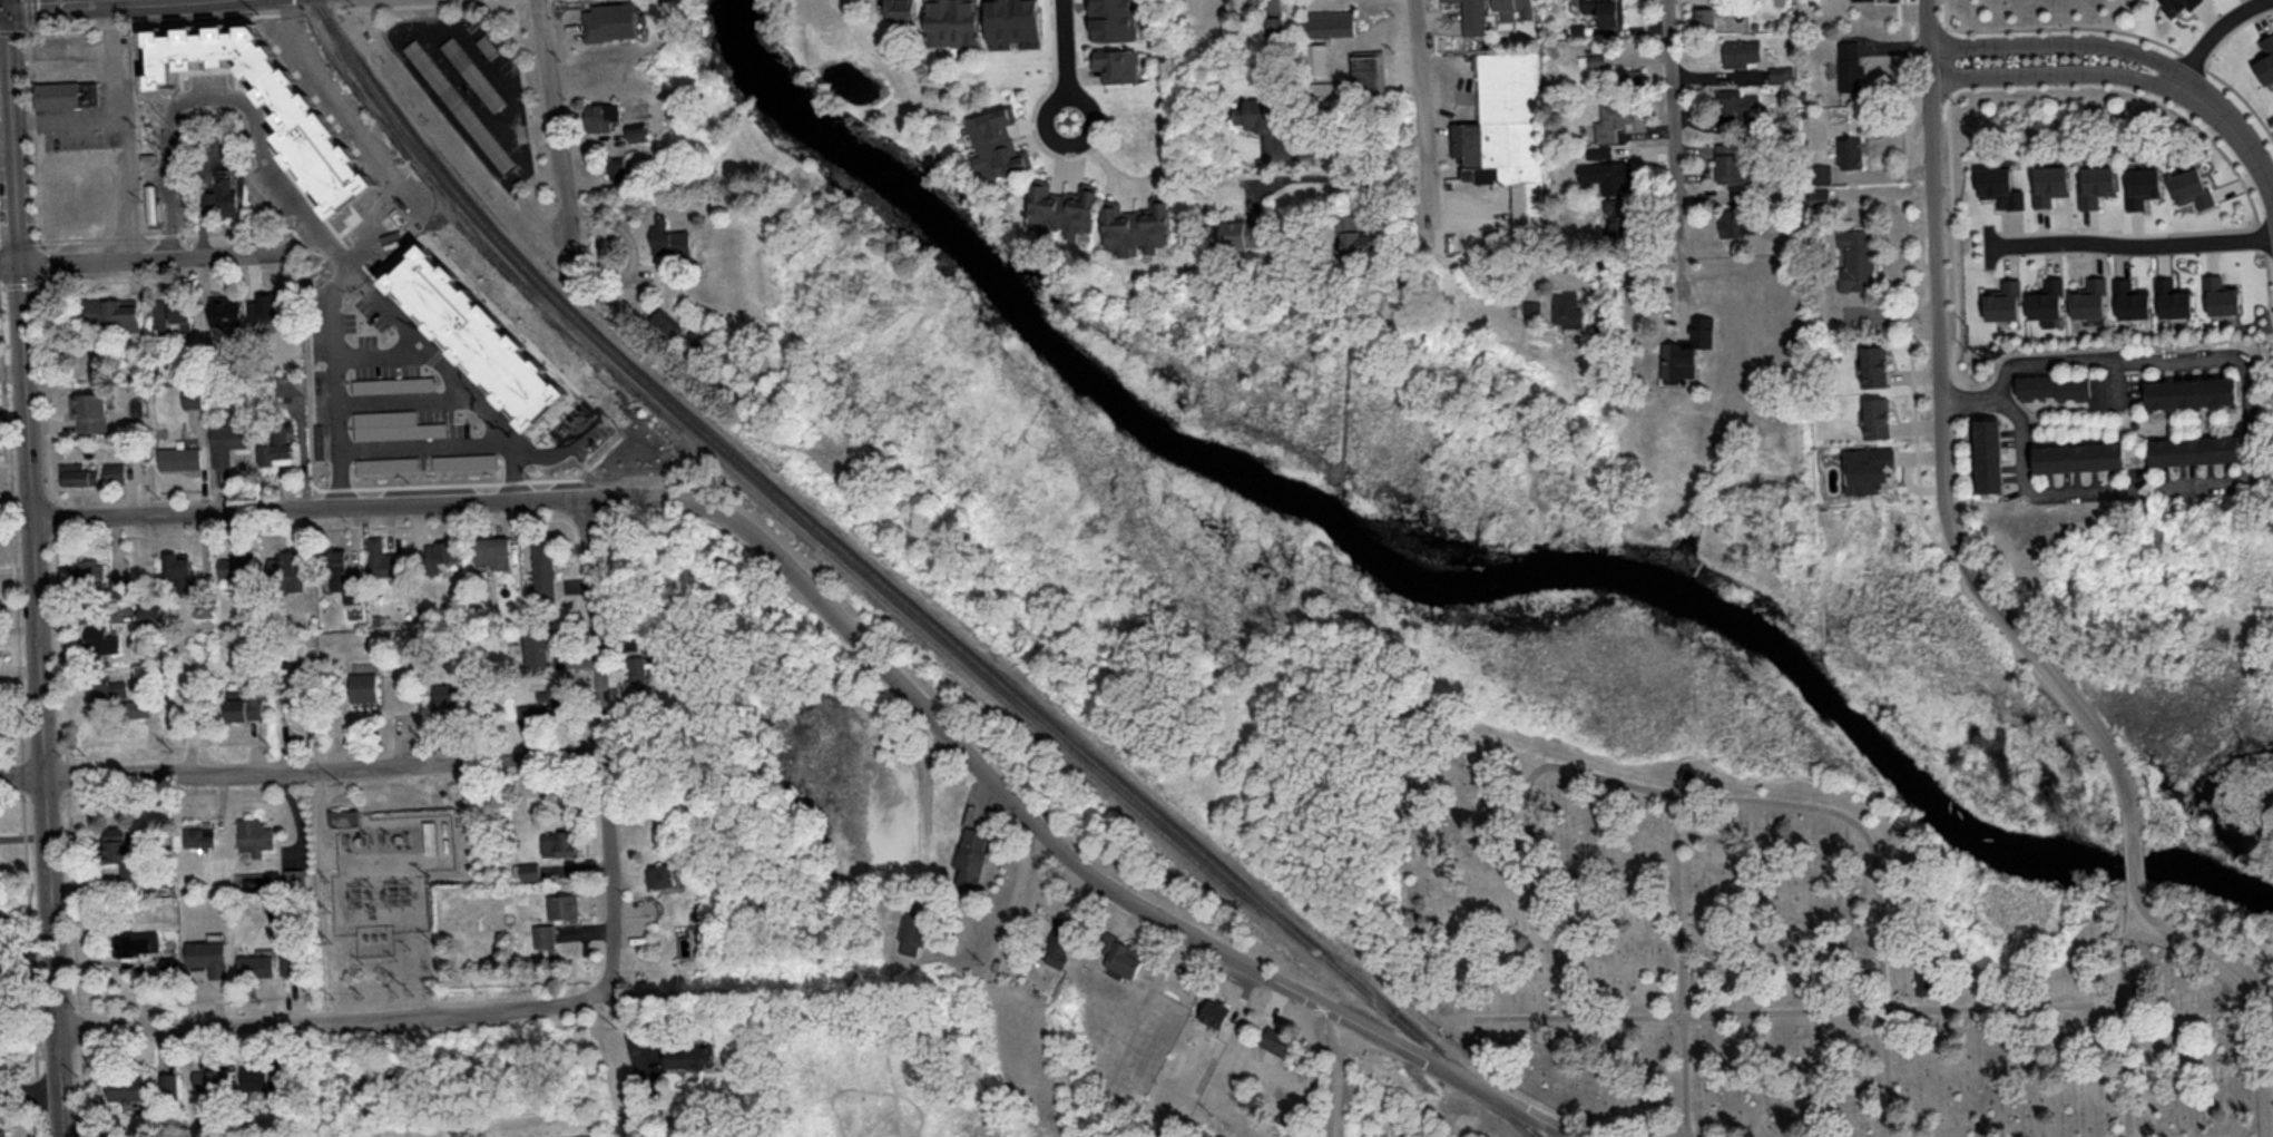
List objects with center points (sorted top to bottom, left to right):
road: (117, 1)
road: (8, 3)
road: (77, 3)
building: (2177, 6)
road: (4, 8)
traffic signals: (9, 8)
building: (1513, 8)
building: (898, 10)
building: (1604, 11)
road: (28, 14)
building: (1705, 14)
building: (1470, 16)
building: (1110, 19)
building: (610, 20)
building: (1012, 20)
building: (953, 21)
building: (1327, 22)
road: (2215, 32)
road: (429, 45)
road: (59, 50)
road: (2064, 50)
building: (1740, 51)
building: (1316, 58)
road: (1064, 59)
building: (1595, 59)
building: (2265, 59)
building: (1116, 63)
building: (1848, 65)
building: (1369, 70)
building: (472, 72)
building: (1627, 72)
building: (1781, 72)
road: (2059, 76)
building: (63, 91)
building: (1738, 102)
building: (459, 104)
road: (109, 105)
building: (601, 115)
road: (1428, 115)
building: (301, 119)
building: (1613, 120)
road: (555, 121)
road: (1679, 124)
road: (2237, 128)
building: (638, 130)
building: (1507, 134)
building: (997, 143)
road: (1351, 150)
building: (1598, 150)
building: (1851, 150)
road: (215, 154)
building: (1730, 161)
building: (615, 166)
building: (1825, 173)
building: (1608, 175)
road: (126, 182)
road: (1353, 183)
building: (2049, 183)
building: (2095, 184)
building: (2140, 185)
building: (2000, 187)
building: (2189, 187)
road: (284, 189)
building: (219, 194)
building: (1819, 195)
building: (1062, 208)
building: (1614, 213)
building: (1736, 220)
building: (1137, 225)
building: (1242, 231)
building: (1354, 235)
building: (668, 238)
road: (2133, 245)
road: (169, 256)
road: (1485, 257)
building: (1856, 258)
road: (9, 265)
building: (2220, 295)
building: (2087, 297)
building: (2172, 297)
building: (2129, 298)
building: (2002, 300)
building: (2045, 301)
building: (1531, 307)
building: (268, 308)
building: (1566, 308)
building: (224, 310)
building: (109, 312)
building: (172, 315)
road: (1939, 317)
building: (665, 321)
building: (476, 334)
railway: (501, 345)
building: (1686, 347)
road: (332, 356)
road: (2240, 356)
building: (1873, 365)
building: (290, 383)
building: (393, 383)
building: (2066, 388)
building: (2191, 392)
building: (192, 394)
road: (1969, 398)
building: (89, 410)
building: (1877, 416)
building: (393, 424)
building: (228, 440)
road: (425, 442)
building: (277, 448)
building: (2194, 449)
building: (1989, 454)
building: (2078, 455)
building: (179, 457)
building: (483, 459)
building: (386, 463)
building: (1869, 469)
building: (114, 471)
building: (76, 473)
road: (298, 504)
railway: (821, 543)
building: (492, 551)
building: (439, 553)
building: (379, 555)
building: (237, 565)
building: (180, 567)
building: (288, 569)
building: (543, 569)
building: (86, 571)
road: (33, 572)
river: (1437, 579)
railway: (895, 594)
building: (149, 612)
building: (97, 637)
building: (536, 646)
building: (636, 672)
building: (114, 694)
building: (445, 694)
building: (545, 704)
building: (245, 707)
road: (2087, 722)
road: (601, 746)
road: (324, 768)
road: (22, 774)
road: (1003, 794)
road: (1737, 800)
building: (344, 816)
building: (198, 833)
building: (254, 834)
road: (327, 836)
building: (559, 842)
building: (120, 846)
building: (970, 857)
road: (2134, 863)
building: (530, 870)
power substation: (385, 873)
building: (663, 874)
building: (293, 878)
road: (1020, 881)
road: (320, 895)
building: (562, 905)
park: (1751, 917)
road: (2150, 917)
building: (912, 930)
building: (545, 938)
building: (138, 941)
building: (1058, 942)
building: (1119, 953)
building: (208, 954)
building: (170, 963)
road: (2236, 964)
building: (256, 966)
road: (1682, 966)
building: (1926, 986)
building: (1214, 1012)
road: (1796, 1012)
road: (325, 1021)
road: (2126, 1021)
building: (1274, 1040)
building: (687, 1055)
road: (1344, 1077)
building: (210, 1078)
building: (258, 1080)
building: (170, 1081)
building: (126, 1087)
road: (30, 1090)
road: (1524, 1113)
building: (2, 1133)

